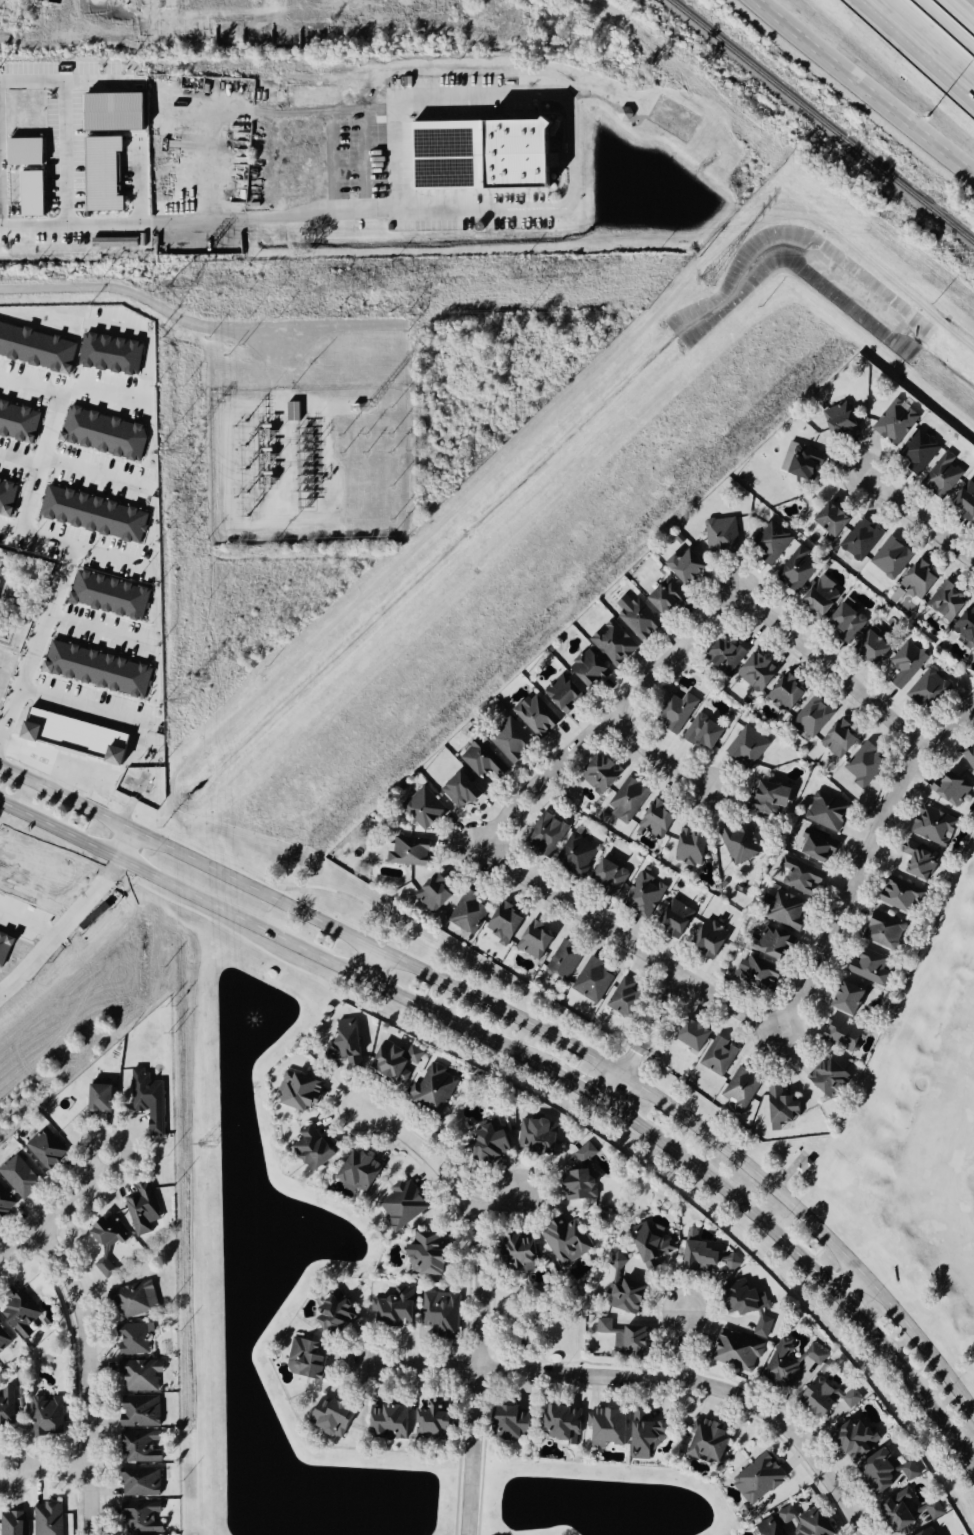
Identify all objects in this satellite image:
road: (962, 10)
road: (928, 41)
road: (864, 85)
road: (154, 90)
road: (566, 99)
building: (114, 111)
railway: (821, 121)
building: (26, 152)
railway: (780, 154)
road: (67, 155)
building: (480, 155)
building: (104, 174)
building: (33, 194)
road: (197, 220)
building: (142, 239)
building: (114, 242)
power tower: (707, 279)
power tower: (177, 290)
road: (196, 326)
building: (38, 347)
building: (113, 353)
road: (142, 382)
road: (44, 405)
building: (297, 410)
building: (20, 420)
building: (838, 421)
building: (893, 423)
building: (106, 432)
power tower: (176, 451)
building: (916, 453)
building: (800, 462)
road: (83, 464)
power substation: (310, 464)
building: (940, 476)
road: (26, 481)
building: (9, 496)
building: (964, 501)
building: (96, 514)
road: (919, 518)
building: (829, 520)
building: (720, 537)
road: (52, 538)
building: (859, 540)
building: (769, 543)
building: (889, 559)
building: (685, 567)
building: (1, 569)
building: (795, 570)
building: (917, 580)
building: (112, 594)
building: (665, 598)
building: (817, 601)
building: (945, 602)
building: (635, 619)
building: (842, 622)
building: (965, 626)
road: (87, 627)
building: (612, 643)
road: (28, 648)
building: (870, 648)
building: (723, 656)
building: (973, 656)
building: (905, 664)
building: (592, 667)
building: (100, 668)
building: (755, 672)
building: (926, 690)
building: (566, 693)
building: (782, 695)
road: (69, 704)
power tower: (176, 704)
building: (675, 711)
road: (610, 715)
building: (539, 717)
building: (810, 717)
building: (707, 731)
building: (973, 732)
building: (75, 736)
building: (837, 739)
building: (513, 740)
building: (745, 748)
building: (968, 757)
road: (654, 758)
building: (483, 760)
building: (862, 766)
building: (599, 773)
building: (948, 788)
building: (464, 791)
building: (763, 798)
building: (777, 798)
building: (626, 800)
building: (426, 808)
building: (825, 812)
building: (655, 819)
building: (930, 825)
building: (549, 833)
road: (125, 843)
building: (737, 844)
building: (812, 846)
building: (688, 847)
building: (407, 852)
building: (579, 852)
building: (915, 861)
building: (613, 874)
building: (801, 879)
building: (438, 893)
building: (645, 894)
building: (896, 894)
building: (789, 910)
building: (471, 912)
road: (838, 916)
building: (678, 918)
road: (29, 919)
building: (508, 923)
road: (65, 928)
building: (879, 929)
road: (276, 936)
building: (714, 937)
building: (538, 939)
building: (778, 944)
building: (6, 945)
building: (567, 959)
road: (374, 967)
building: (873, 968)
building: (760, 974)
building: (594, 979)
building: (627, 997)
building: (853, 998)
road: (660, 1013)
road: (534, 1027)
building: (845, 1034)
building: (700, 1036)
building: (347, 1044)
building: (720, 1056)
building: (398, 1060)
road: (630, 1061)
building: (831, 1077)
road: (579, 1083)
road: (612, 1085)
building: (435, 1088)
building: (743, 1088)
building: (303, 1090)
building: (105, 1098)
building: (151, 1099)
building: (786, 1106)
park: (920, 1126)
building: (540, 1136)
building: (492, 1141)
power tower: (206, 1146)
building: (48, 1148)
building: (316, 1148)
building: (587, 1152)
building: (363, 1172)
building: (20, 1176)
building: (583, 1185)
building: (6, 1202)
road: (500, 1203)
building: (404, 1204)
building: (143, 1209)
road: (58, 1211)
road: (474, 1215)
building: (567, 1241)
building: (108, 1243)
building: (654, 1244)
building: (525, 1253)
building: (702, 1253)
building: (431, 1255)
building: (734, 1261)
road: (809, 1266)
road: (846, 1279)
building: (627, 1289)
building: (136, 1299)
building: (752, 1305)
building: (398, 1308)
building: (443, 1311)
building: (23, 1314)
building: (340, 1314)
building: (4, 1337)
building: (137, 1339)
building: (628, 1339)
road: (685, 1344)
building: (739, 1350)
building: (311, 1359)
building: (792, 1362)
building: (142, 1374)
road: (89, 1376)
road: (650, 1378)
building: (829, 1398)
building: (6, 1408)
building: (142, 1411)
building: (49, 1416)
building: (337, 1416)
building: (393, 1421)
building: (436, 1422)
building: (519, 1422)
building: (568, 1423)
building: (611, 1427)
building: (648, 1436)
building: (712, 1440)
building: (850, 1440)
building: (143, 1446)
road: (472, 1453)
road: (48, 1468)
building: (907, 1470)
building: (874, 1473)
building: (754, 1478)
building: (143, 1482)
building: (931, 1509)
building: (893, 1510)
building: (144, 1516)
building: (50, 1519)
building: (801, 1520)
building: (15, 1523)
building: (765, 1527)
building: (923, 1532)

